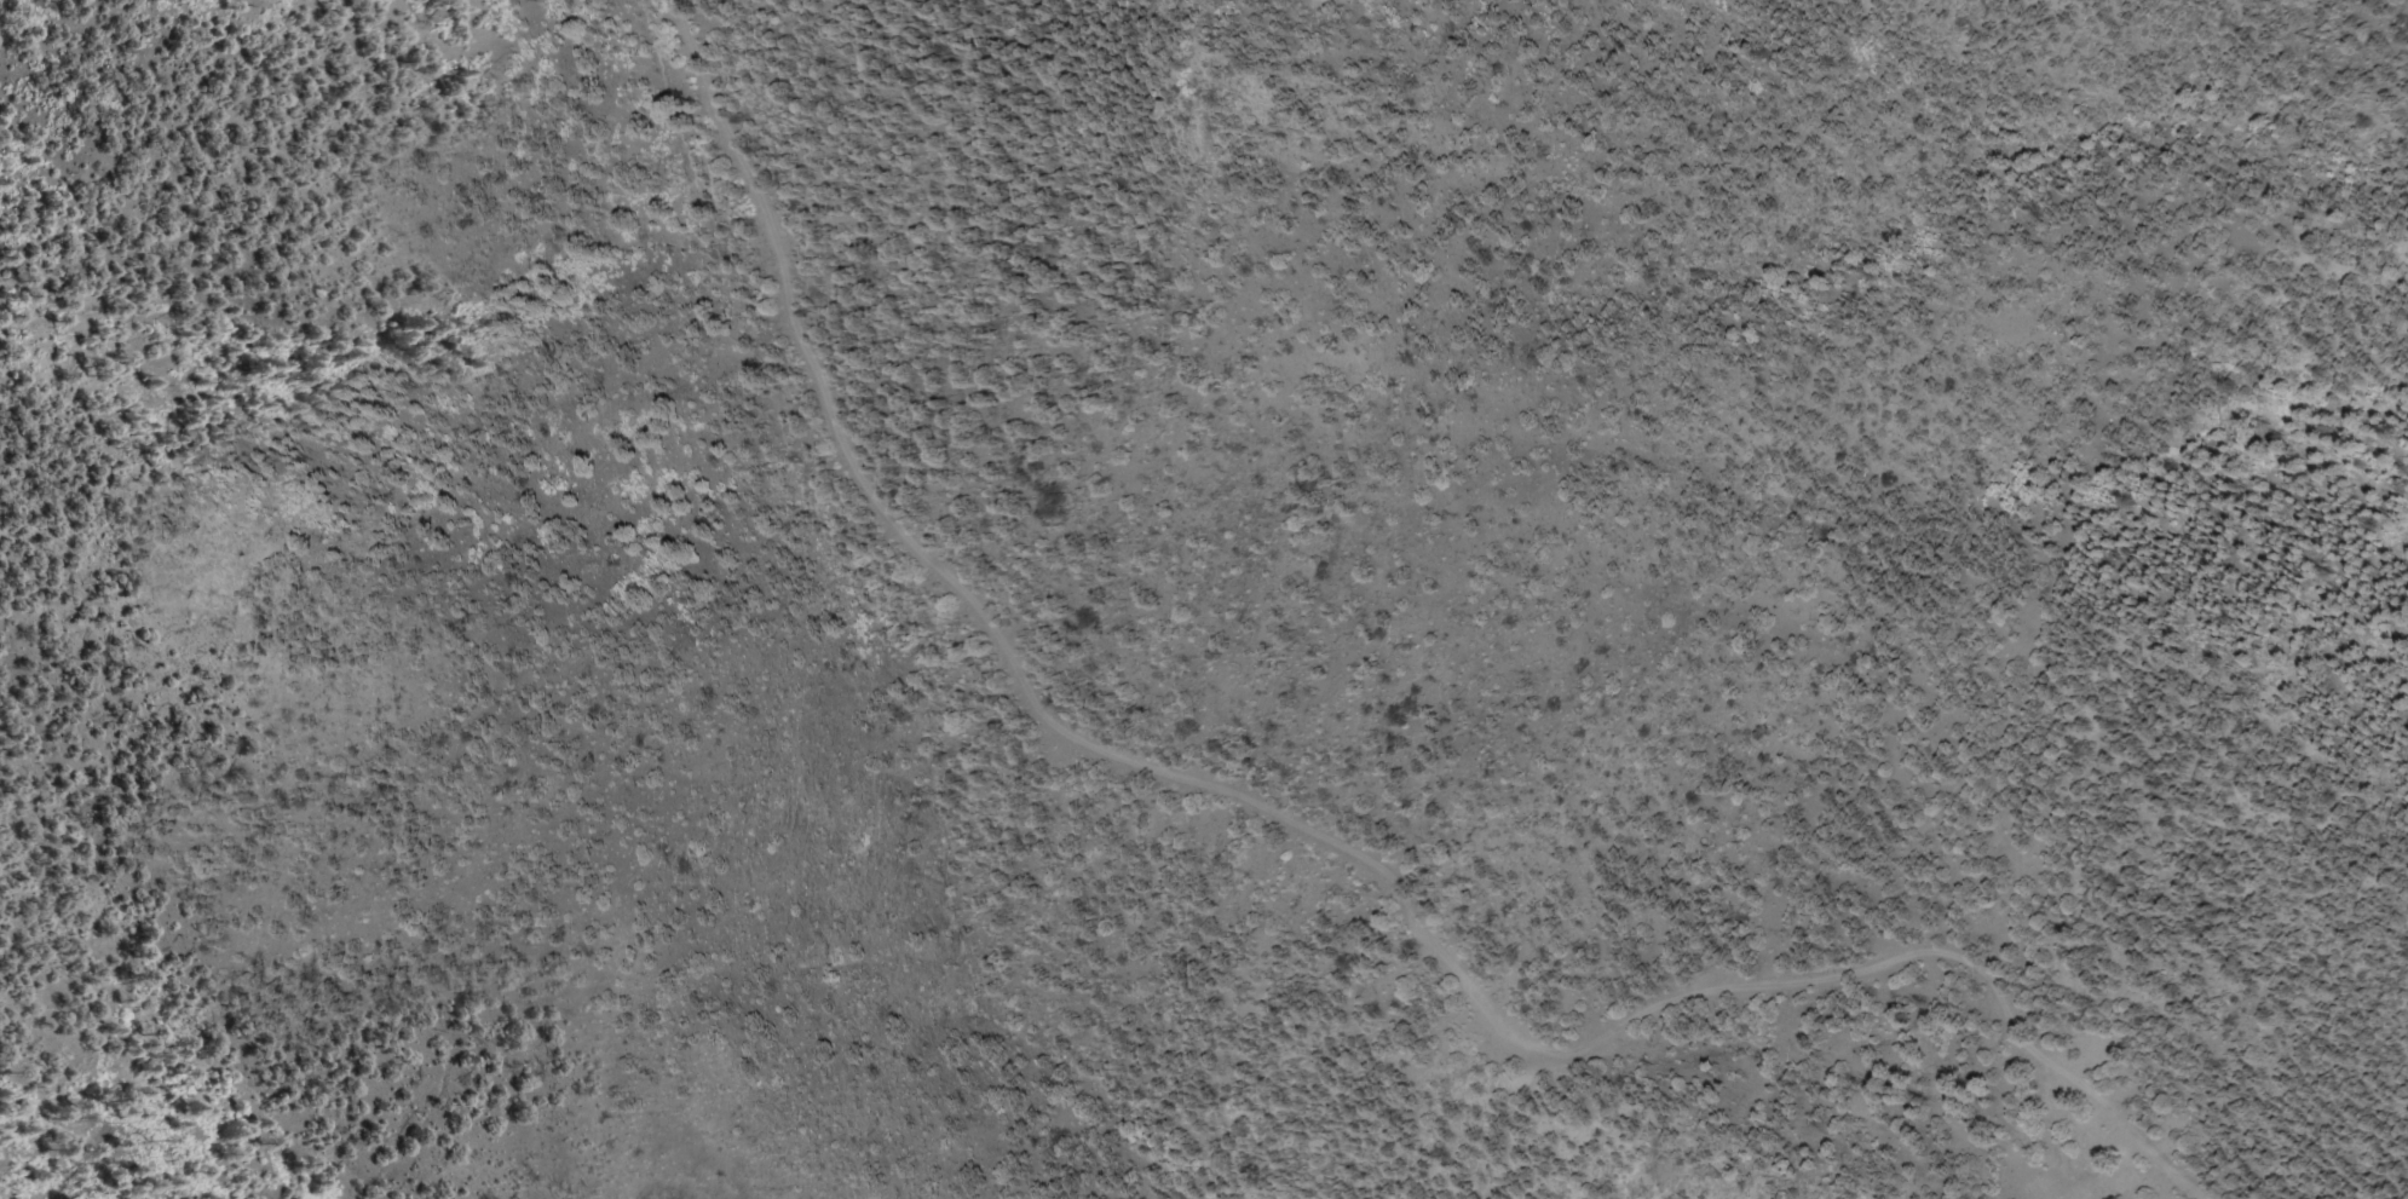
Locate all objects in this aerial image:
road: (2007, 807)
road: (1307, 831)

